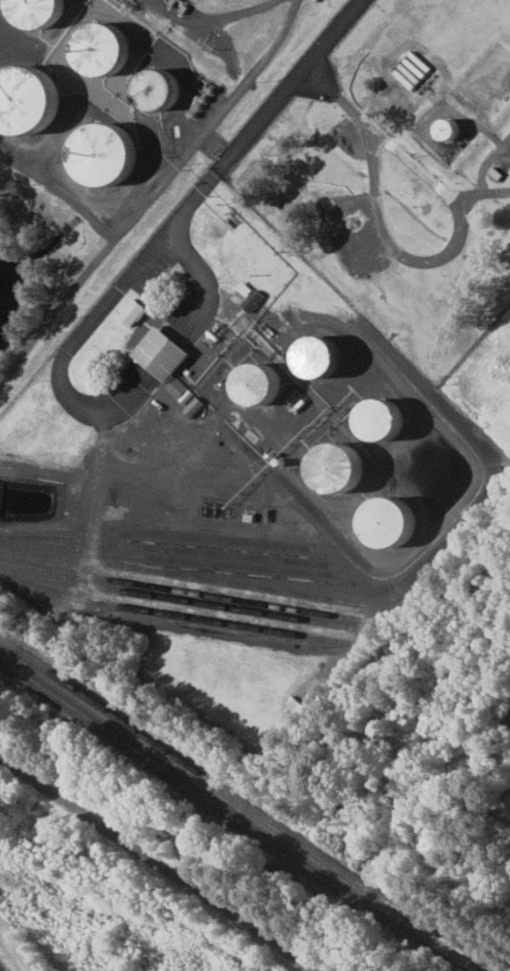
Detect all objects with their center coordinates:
building: (98, 48)
road: (261, 118)
building: (99, 154)
road: (462, 222)
building: (130, 312)
building: (158, 353)
building: (313, 356)
building: (258, 385)
building: (177, 390)
building: (378, 419)
railway: (161, 535)
railway: (172, 550)
railway: (169, 559)
railway: (181, 575)
railway: (177, 590)
railway: (177, 599)
railway: (171, 614)
park: (108, 634)
railway: (246, 803)
railway: (238, 809)
railway: (230, 815)
road: (149, 871)

